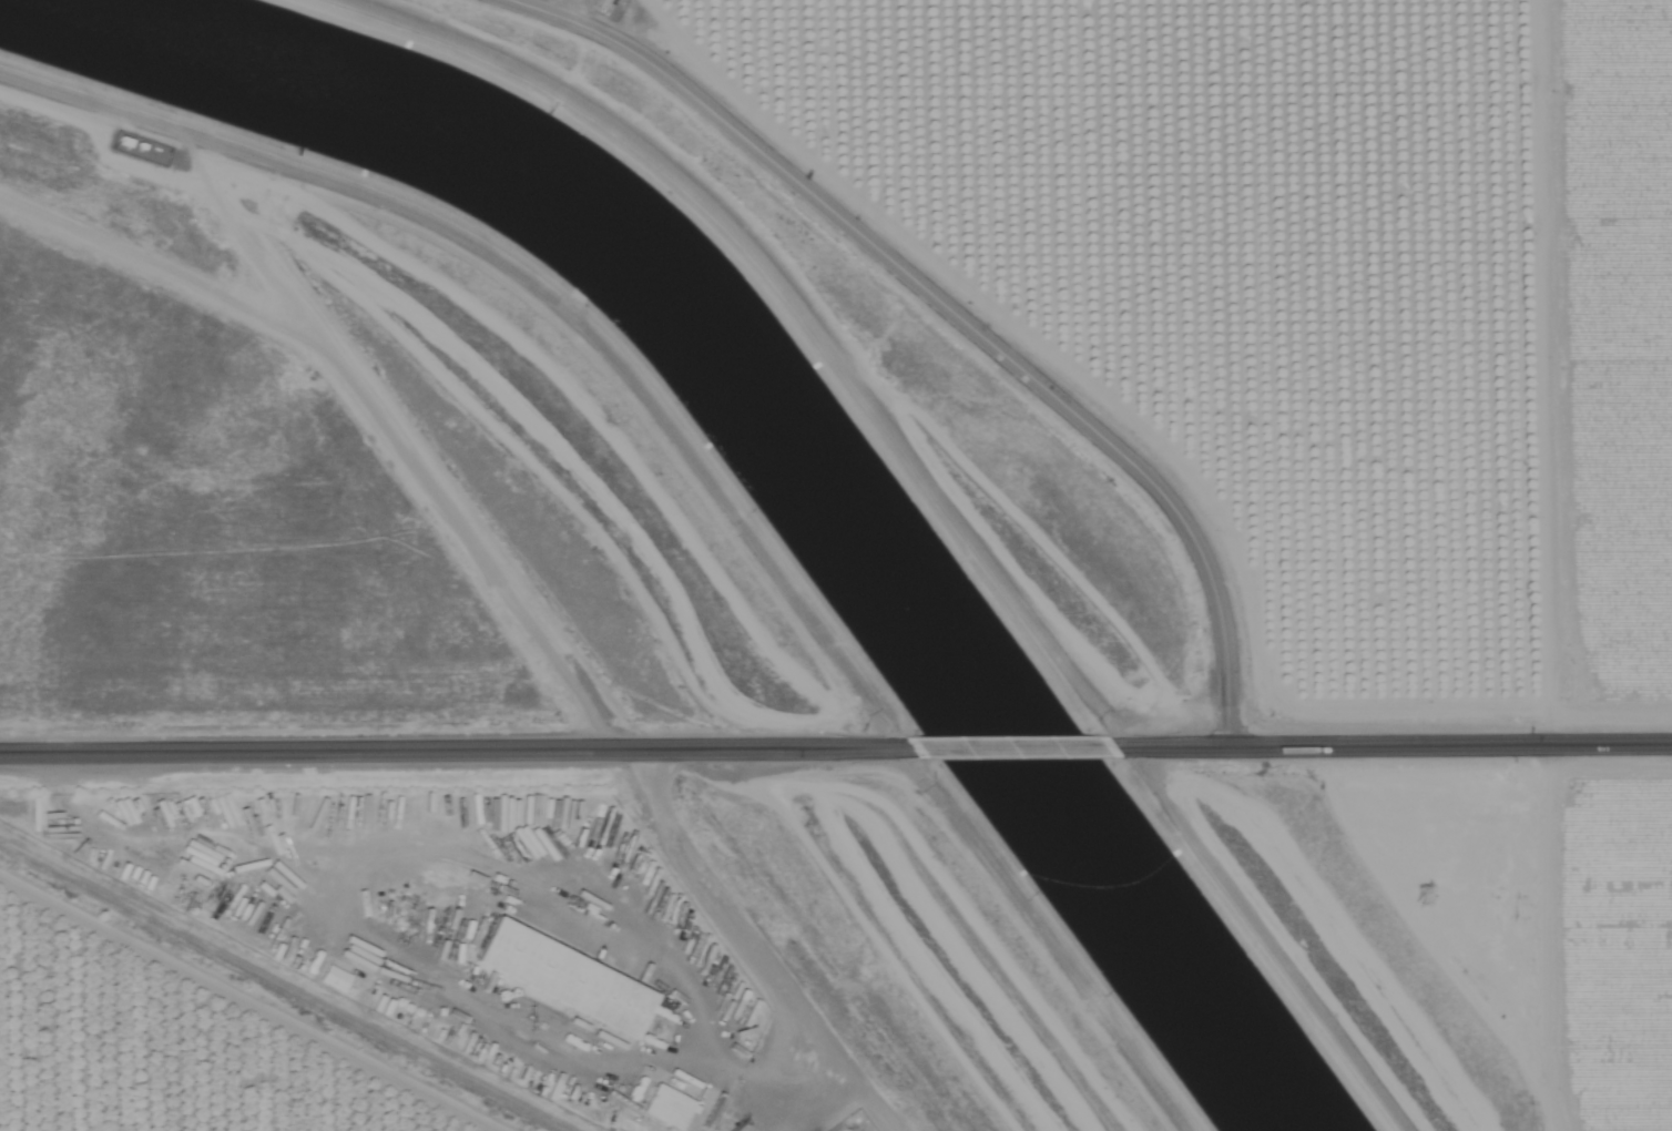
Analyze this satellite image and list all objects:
crop: (1311, 276)
road: (1015, 299)
road: (1393, 747)
road: (1015, 754)
road: (458, 761)
road: (793, 946)
building: (562, 976)
building: (329, 977)
building: (664, 1105)
crop: (1671, 1107)

